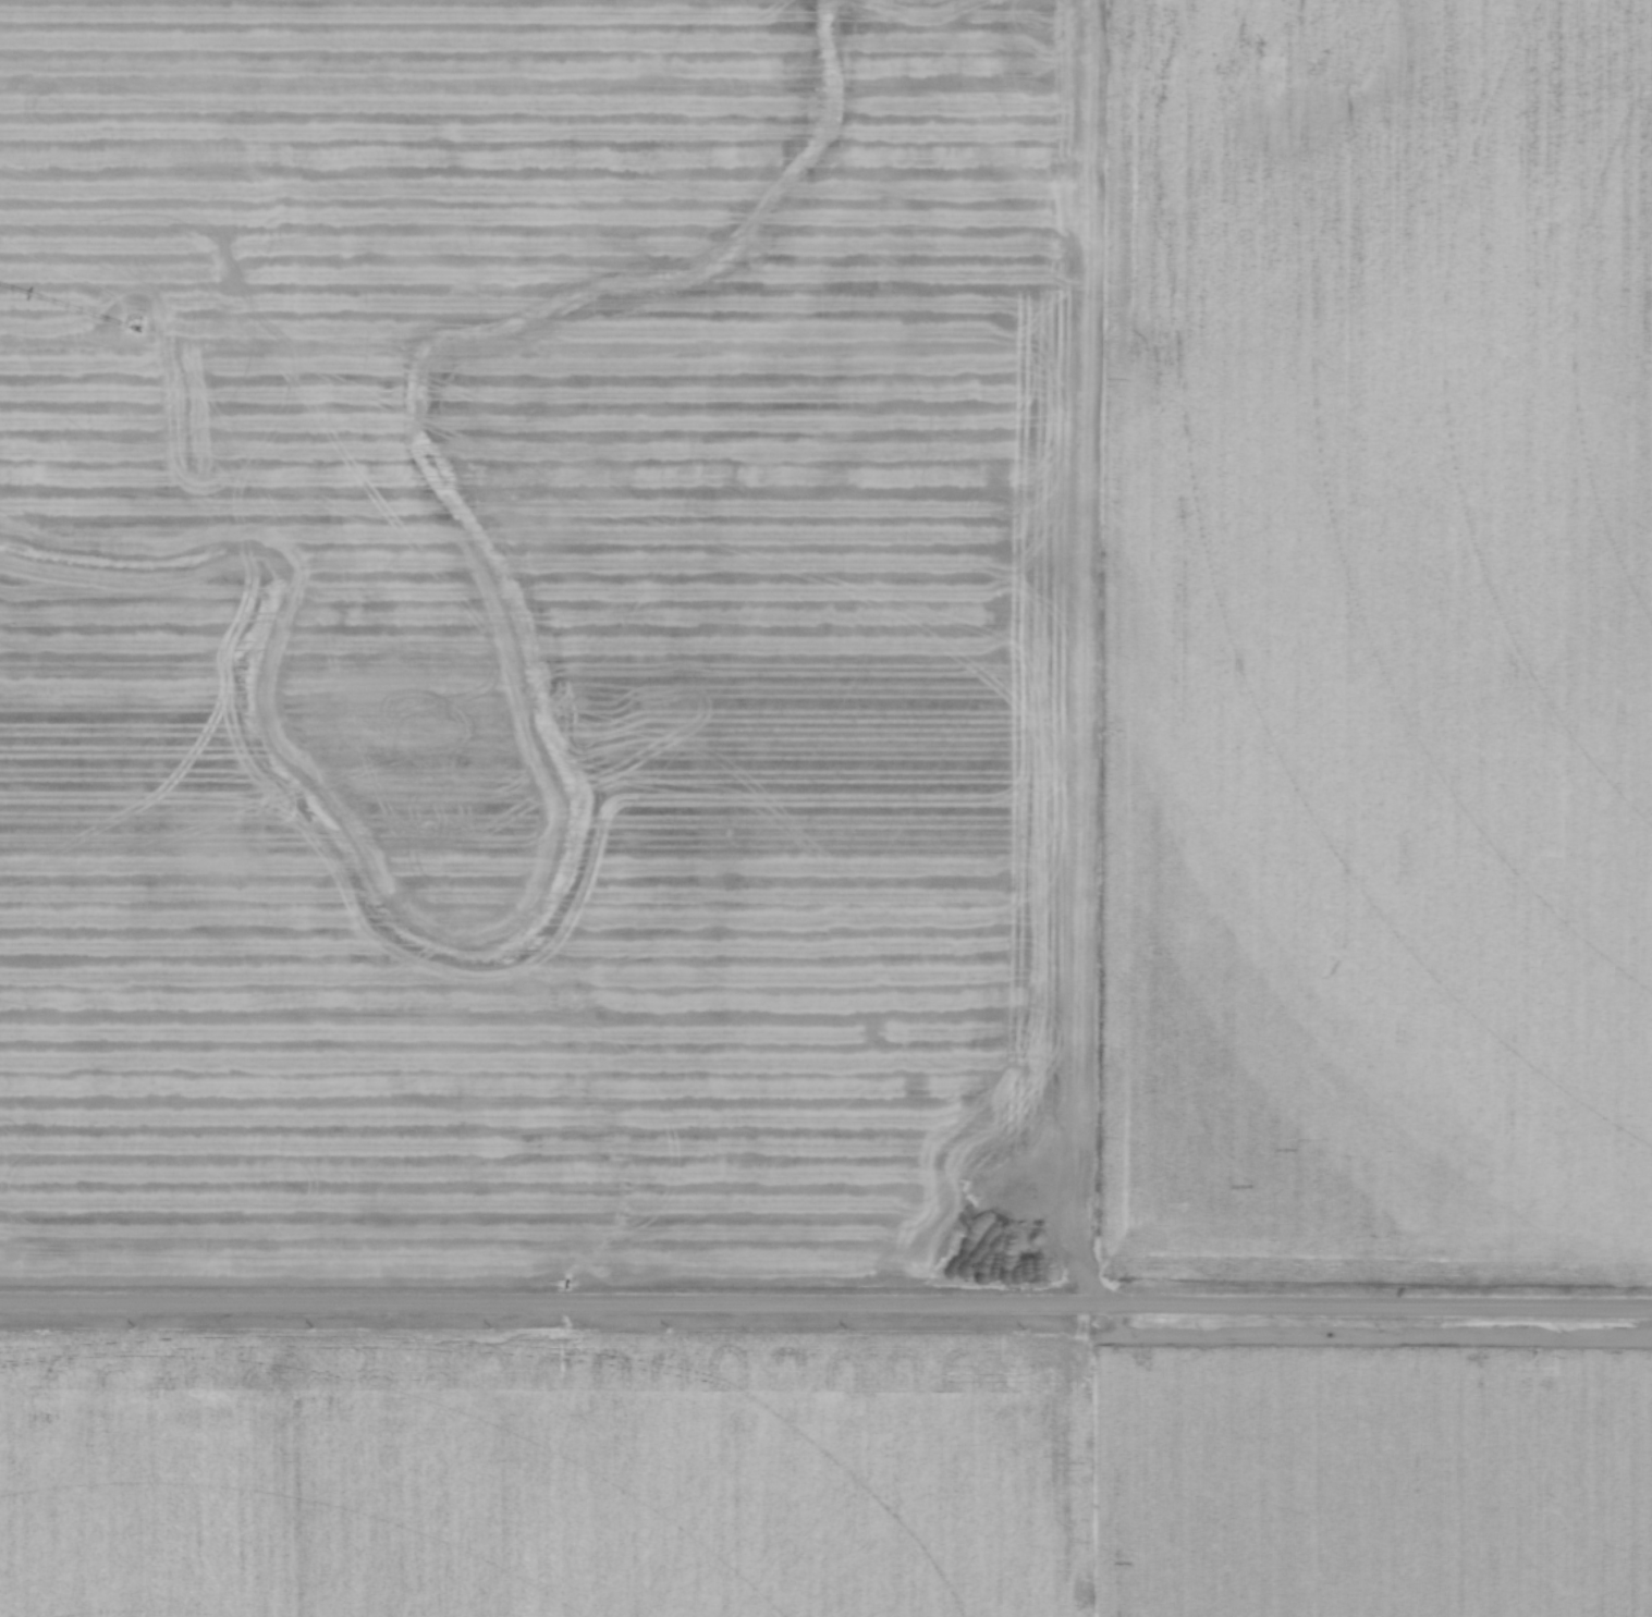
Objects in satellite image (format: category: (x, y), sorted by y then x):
road: (825, 1306)

